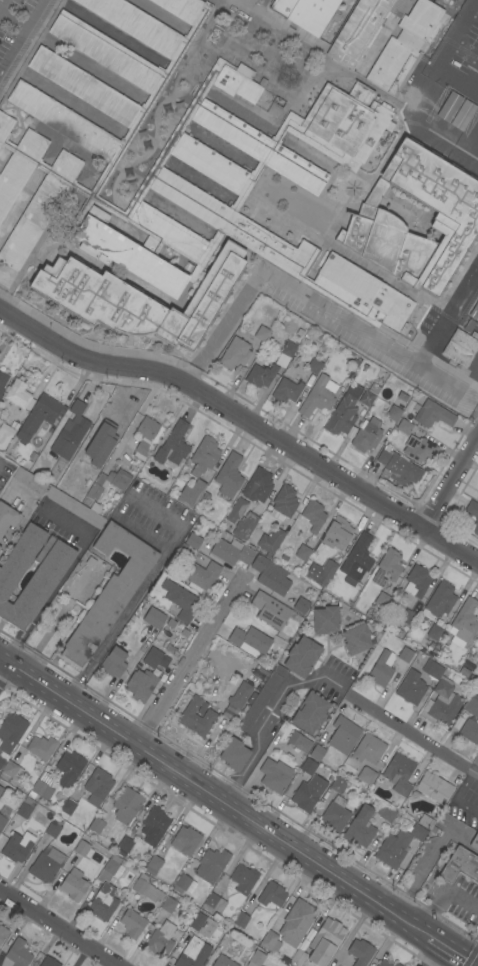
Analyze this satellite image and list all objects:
building: (281, 6)
building: (311, 16)
road: (14, 20)
building: (361, 28)
parking lot: (18, 29)
road: (22, 38)
building: (404, 45)
road: (441, 56)
road: (472, 81)
parking lot: (449, 93)
building: (448, 106)
building: (461, 114)
road: (471, 147)
building: (182, 161)
building: (371, 218)
building: (138, 298)
road: (310, 298)
building: (474, 311)
road: (445, 312)
building: (262, 333)
parking lot: (363, 338)
building: (290, 347)
building: (460, 347)
building: (234, 353)
building: (314, 366)
parking lot: (473, 372)
building: (260, 375)
building: (2, 381)
building: (286, 390)
building: (369, 394)
building: (19, 395)
building: (318, 395)
building: (394, 412)
building: (434, 414)
building: (38, 416)
building: (342, 416)
road: (245, 420)
building: (74, 424)
building: (404, 426)
building: (5, 434)
building: (145, 434)
building: (367, 435)
building: (105, 439)
building: (173, 444)
building: (419, 448)
building: (203, 455)
building: (47, 459)
building: (398, 468)
building: (228, 475)
building: (30, 480)
building: (109, 482)
building: (82, 484)
building: (258, 484)
road: (450, 485)
building: (477, 489)
building: (190, 493)
building: (477, 496)
building: (283, 502)
building: (74, 507)
building: (258, 509)
building: (473, 513)
building: (313, 515)
building: (7, 517)
road: (166, 518)
road: (22, 520)
building: (249, 520)
building: (267, 522)
building: (338, 533)
building: (193, 541)
building: (269, 541)
building: (0, 547)
building: (231, 551)
building: (302, 552)
building: (357, 560)
building: (390, 564)
building: (321, 572)
building: (270, 574)
building: (201, 575)
road: (62, 577)
building: (378, 578)
building: (418, 580)
building: (40, 584)
building: (108, 594)
road: (134, 597)
building: (382, 599)
building: (440, 599)
building: (180, 600)
building: (301, 605)
building: (270, 610)
building: (154, 617)
building: (407, 617)
building: (325, 618)
building: (464, 620)
road: (53, 623)
building: (434, 632)
building: (356, 638)
building: (249, 640)
building: (477, 640)
building: (178, 642)
building: (405, 654)
building: (154, 656)
building: (301, 656)
road: (192, 660)
building: (114, 662)
building: (477, 663)
building: (382, 668)
road: (5, 671)
building: (140, 684)
building: (411, 687)
building: (240, 694)
building: (441, 695)
building: (261, 698)
building: (471, 707)
building: (310, 712)
building: (196, 717)
road: (265, 718)
building: (470, 731)
building: (10, 733)
road: (411, 734)
building: (343, 735)
building: (299, 741)
building: (41, 747)
building: (368, 748)
building: (317, 752)
building: (234, 754)
building: (308, 766)
building: (69, 768)
building: (12, 769)
building: (399, 773)
building: (366, 775)
building: (273, 776)
building: (338, 784)
building: (97, 786)
building: (434, 787)
building: (41, 789)
building: (1, 790)
building: (308, 793)
road: (215, 796)
building: (126, 804)
building: (68, 806)
building: (26, 808)
building: (386, 813)
building: (335, 814)
building: (425, 821)
building: (2, 822)
building: (96, 825)
building: (154, 825)
building: (53, 828)
building: (359, 828)
building: (433, 829)
building: (418, 832)
building: (185, 840)
building: (474, 841)
building: (125, 844)
building: (15, 848)
building: (392, 848)
building: (83, 849)
building: (154, 863)
building: (211, 864)
building: (460, 865)
building: (45, 866)
building: (111, 869)
building: (243, 879)
building: (184, 884)
building: (73, 885)
building: (147, 888)
building: (271, 895)
road: (441, 896)
building: (103, 902)
building: (213, 903)
building: (168, 904)
building: (240, 919)
building: (296, 922)
building: (132, 923)
building: (275, 923)
road: (63, 924)
building: (200, 924)
building: (3, 933)
building: (176, 934)
building: (215, 934)
building: (161, 939)
building: (325, 941)
building: (270, 942)
building: (360, 952)
road: (450, 952)
building: (193, 953)
building: (16, 954)
building: (298, 957)
building: (256, 958)
building: (223, 961)
building: (48, 962)
building: (372, 963)
building: (383, 963)
building: (397, 964)
building: (413, 965)

